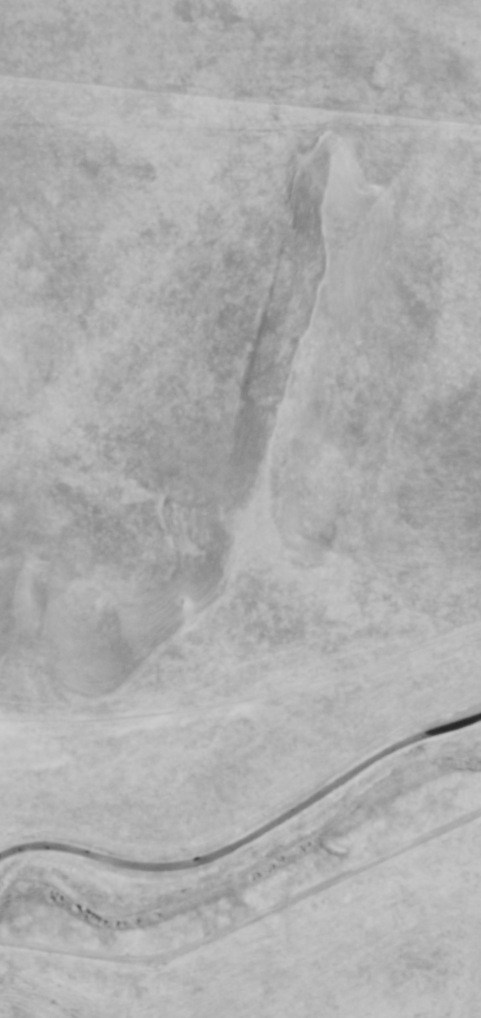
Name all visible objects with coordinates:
road: (251, 852)

